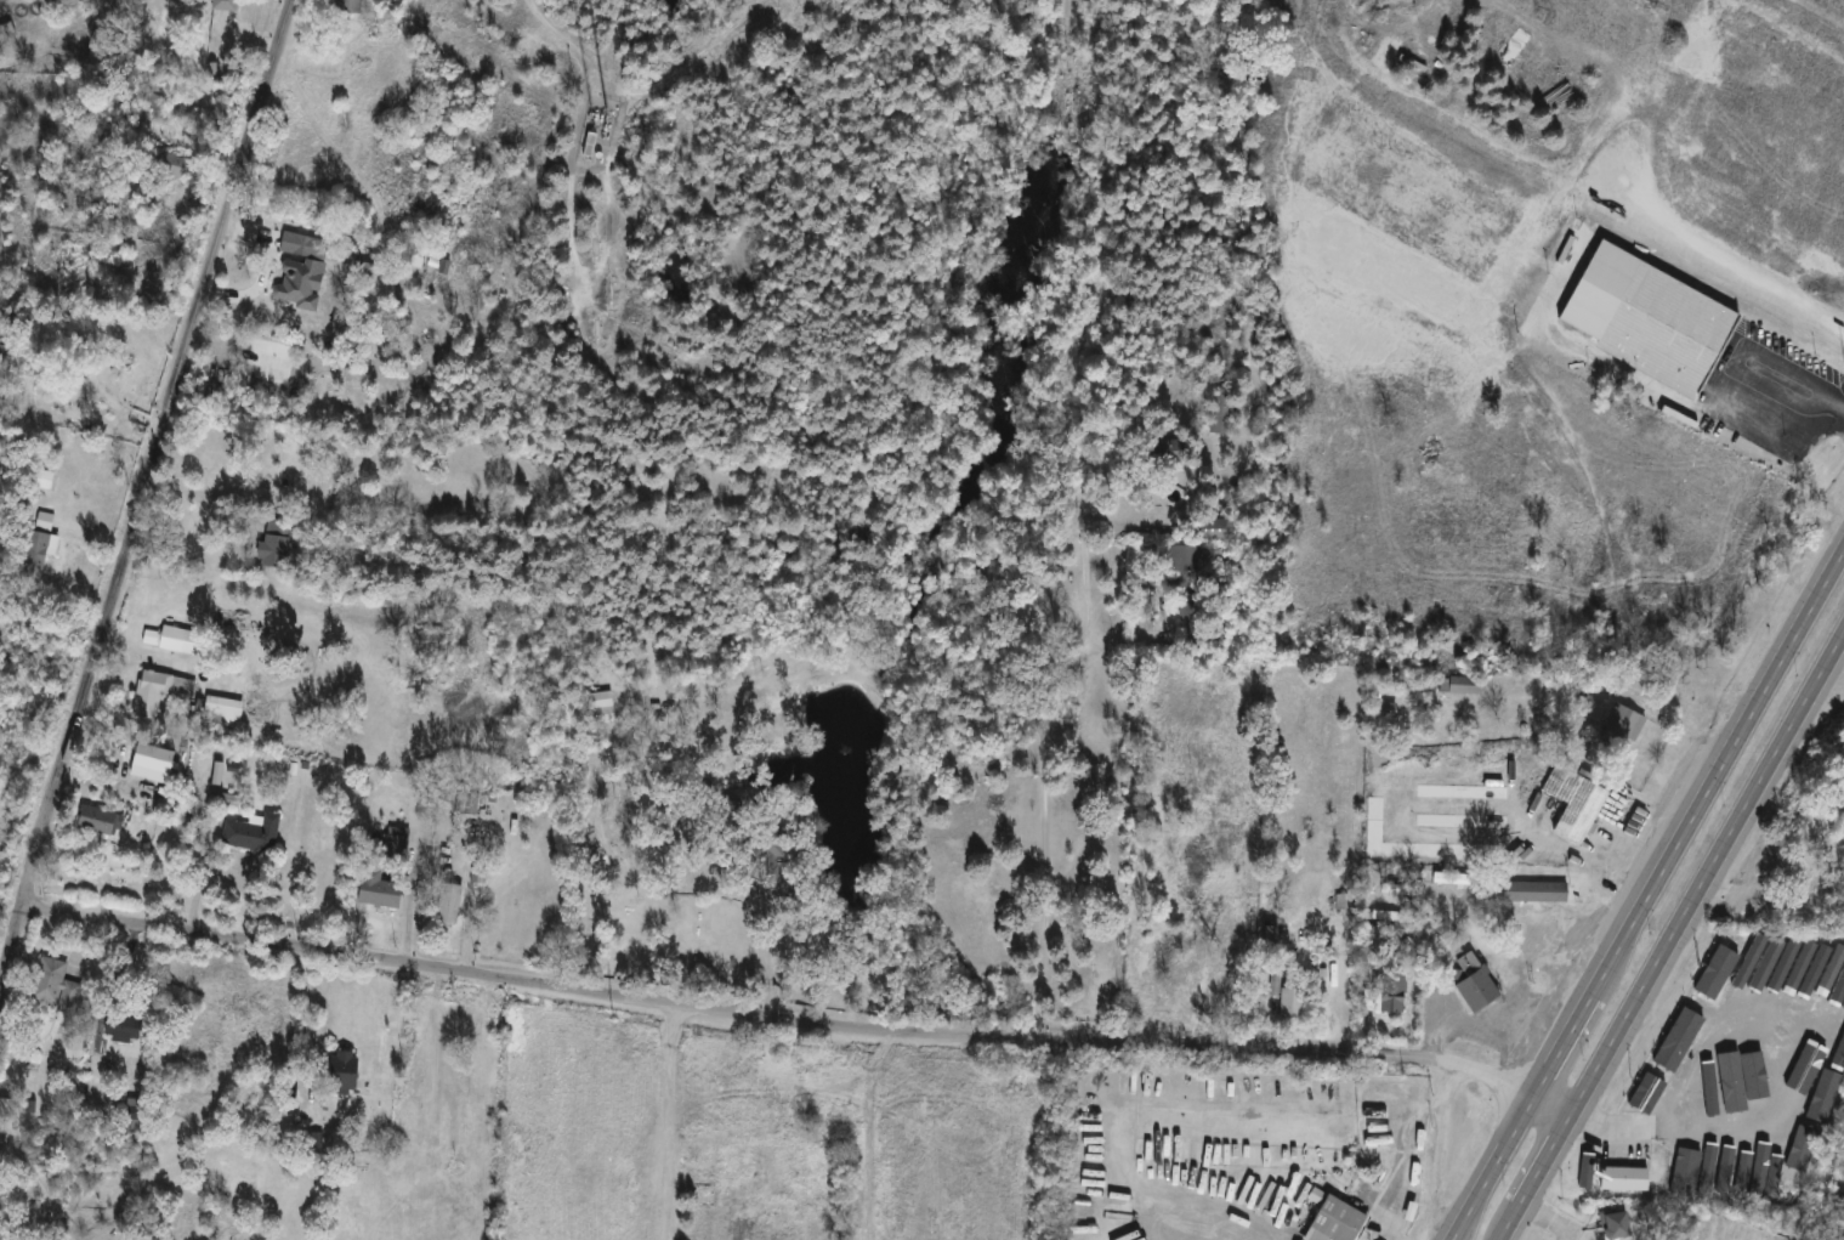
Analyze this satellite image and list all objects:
building: (219, 5)
building: (346, 7)
road: (557, 33)
building: (92, 136)
building: (588, 145)
building: (1839, 159)
building: (165, 165)
building: (301, 245)
building: (300, 282)
building: (1664, 332)
road: (1730, 366)
building: (1219, 414)
building: (1162, 452)
building: (286, 465)
building: (40, 480)
road: (143, 488)
building: (1210, 530)
building: (274, 543)
building: (32, 555)
building: (1182, 559)
building: (172, 640)
building: (1458, 685)
building: (1513, 687)
building: (157, 691)
building: (600, 707)
building: (223, 712)
building: (1622, 721)
building: (154, 783)
road: (1042, 799)
building: (1572, 803)
building: (93, 820)
building: (250, 834)
building: (392, 842)
building: (764, 849)
road: (197, 870)
building: (1448, 878)
building: (1803, 881)
building: (375, 889)
building: (1531, 891)
road: (1650, 893)
building: (446, 906)
road: (1672, 936)
road: (762, 961)
building: (1151, 961)
building: (1788, 969)
building: (1717, 972)
building: (1812, 974)
building: (1473, 984)
building: (51, 985)
building: (1219, 989)
building: (1390, 991)
building: (1286, 997)
road: (305, 1014)
road: (798, 1020)
building: (120, 1025)
building: (1685, 1026)
building: (1731, 1069)
building: (340, 1072)
building: (1755, 1081)
building: (248, 1092)
building: (131, 1114)
road: (663, 1121)
building: (761, 1136)
building: (356, 1160)
road: (28, 1163)
building: (1700, 1167)
building: (1674, 1171)
building: (1719, 1172)
building: (1622, 1178)
road: (66, 1216)
road: (42, 1221)
building: (1333, 1221)
building: (1612, 1223)
building: (698, 1224)

